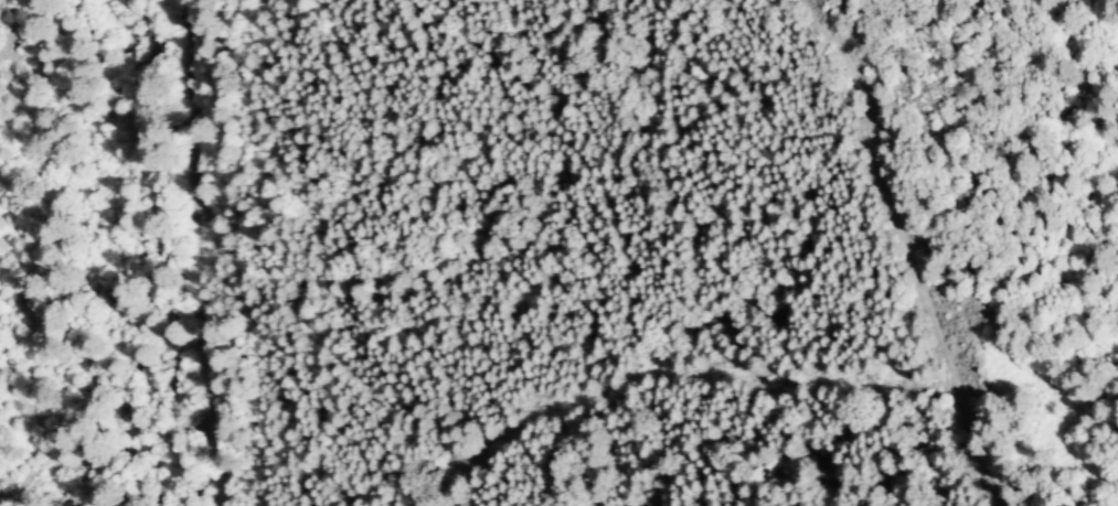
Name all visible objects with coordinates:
road: (909, 248)

